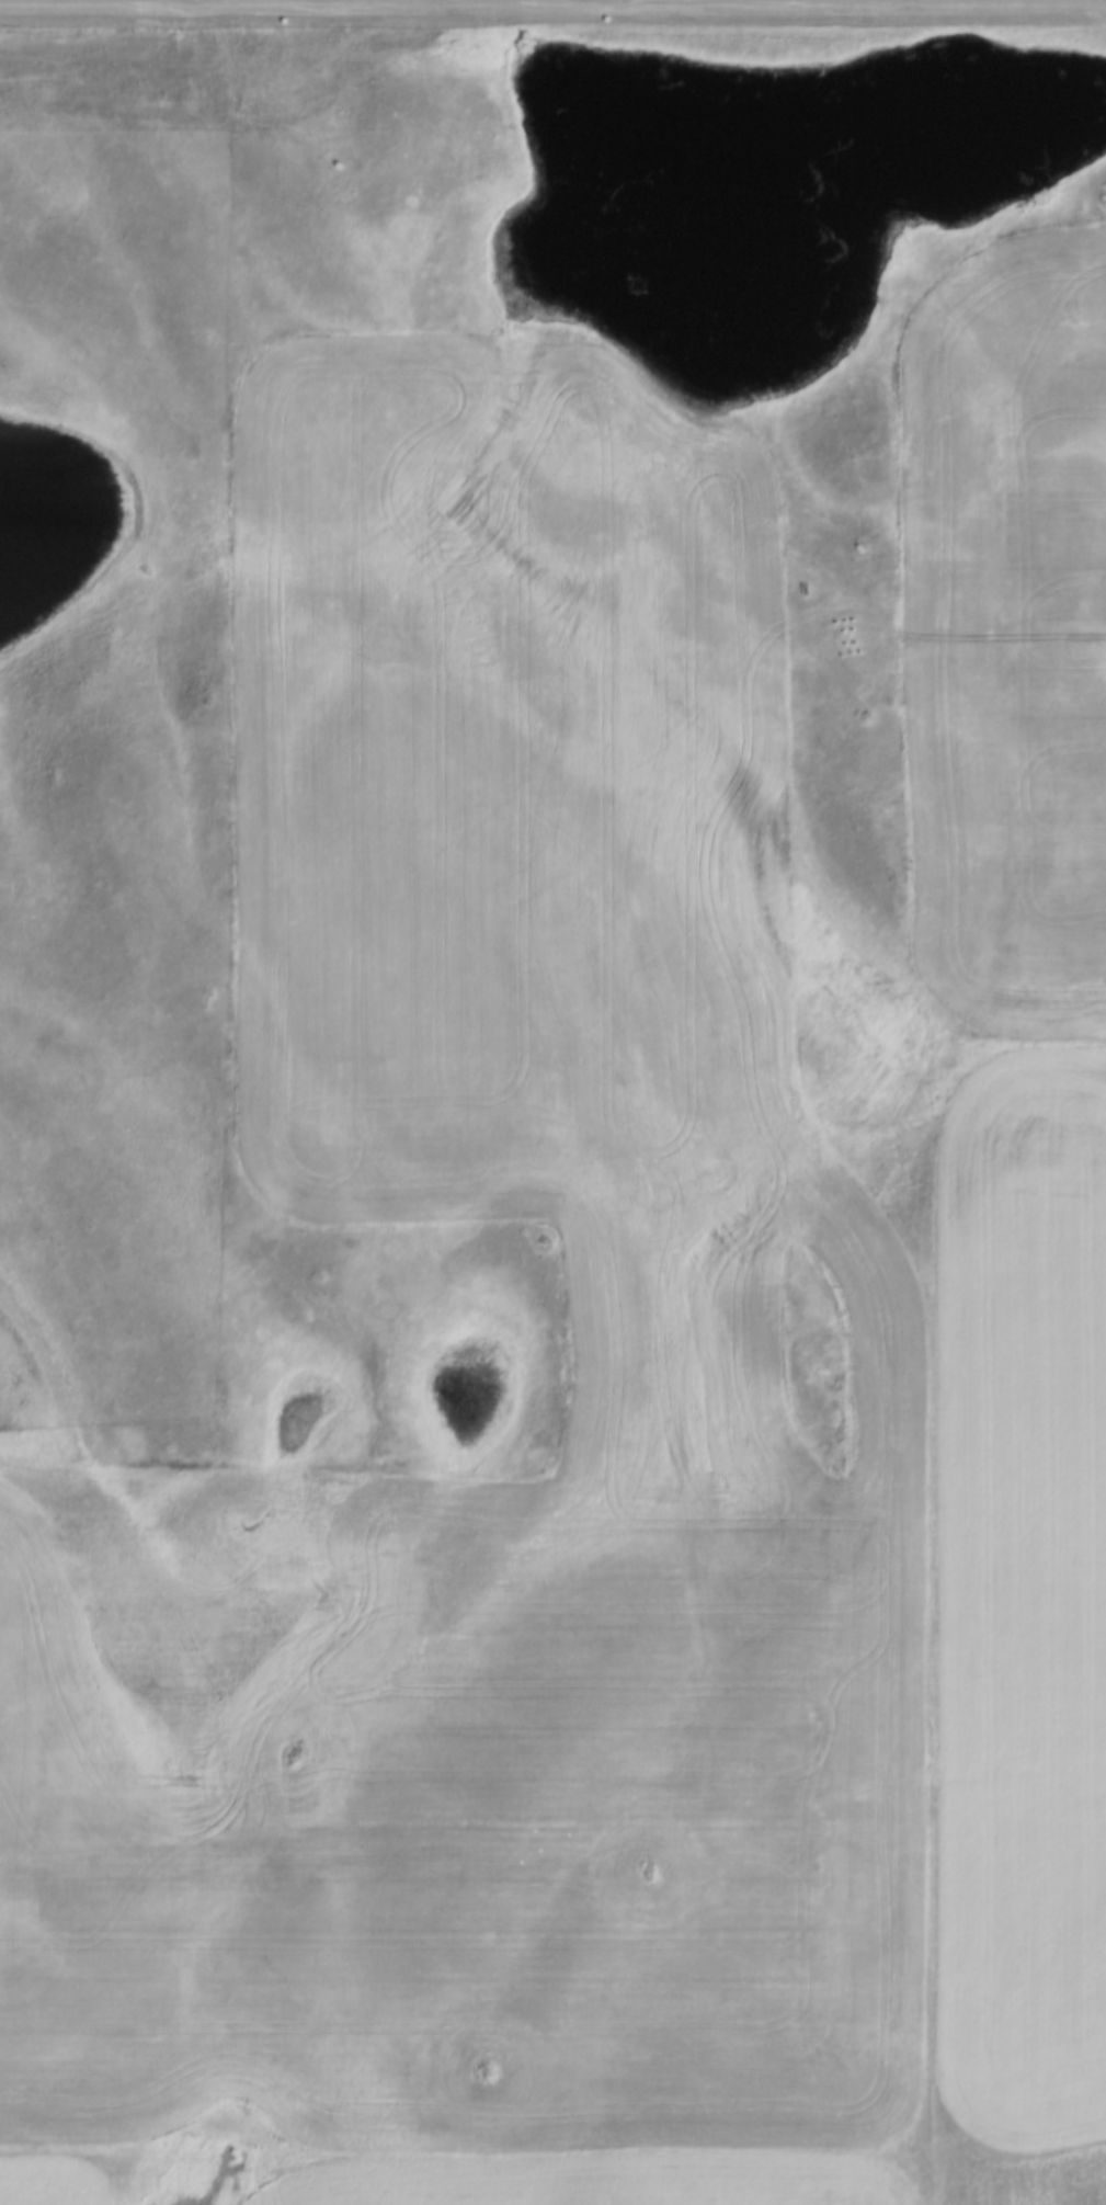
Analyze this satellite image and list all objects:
road: (909, 1412)

